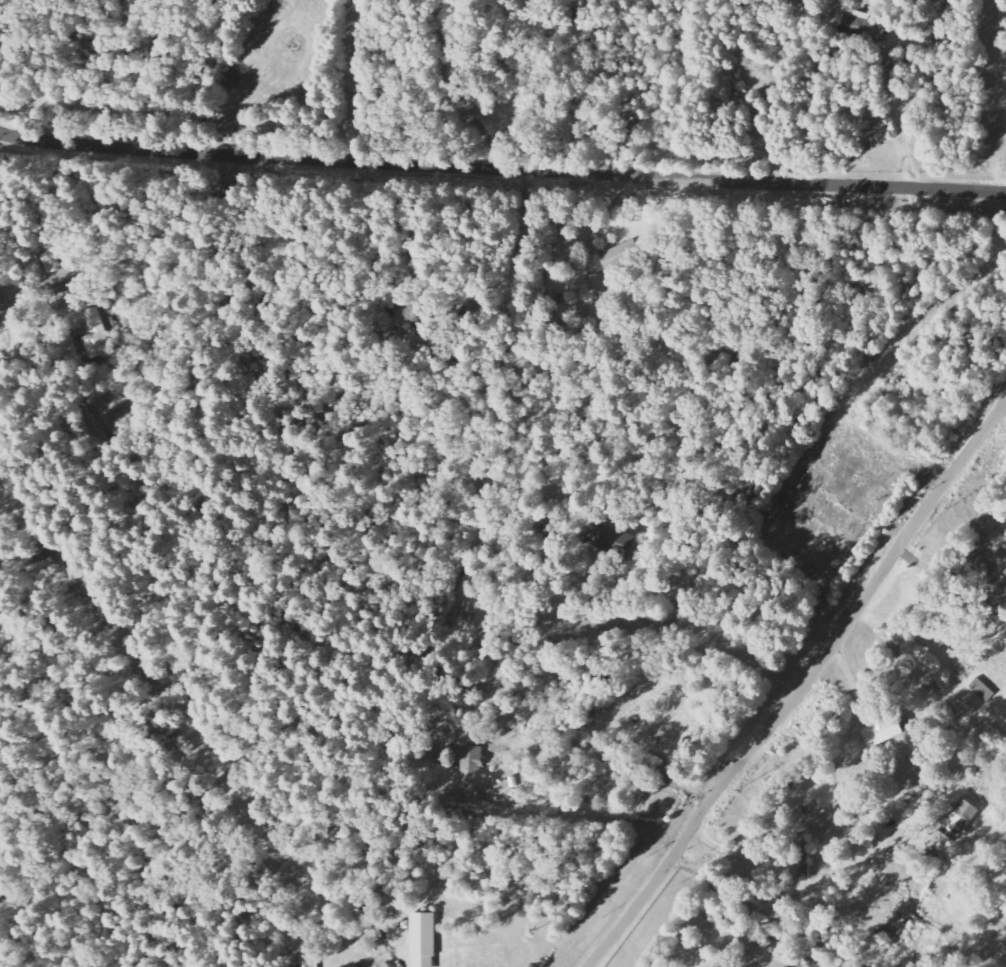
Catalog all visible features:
building: (857, 26)
road: (529, 83)
road: (502, 165)
building: (50, 262)
road: (8, 320)
building: (92, 336)
building: (409, 344)
building: (608, 541)
road: (804, 686)
building: (983, 690)
building: (883, 732)
building: (474, 767)
road: (677, 781)
building: (962, 819)
road: (1005, 841)
road: (855, 909)
building: (428, 939)
road: (394, 954)
building: (313, 960)

